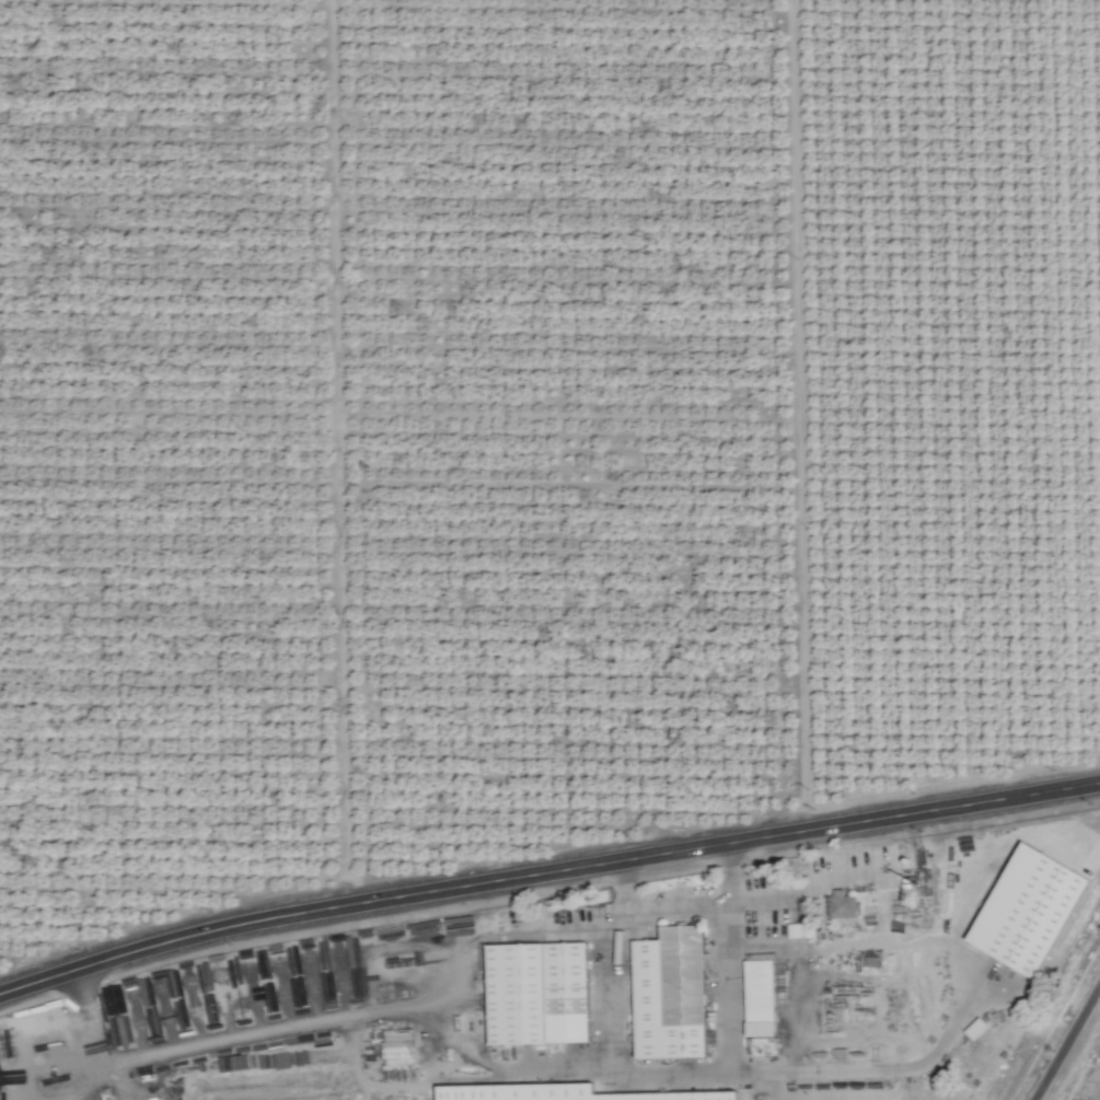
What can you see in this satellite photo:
road: (797, 417)
road: (334, 454)
road: (546, 873)
building: (842, 904)
road: (680, 906)
building: (1027, 910)
building: (795, 930)
road: (764, 946)
building: (537, 993)
building: (669, 994)
building: (759, 997)
road: (960, 1010)
railway: (1057, 1024)
road: (88, 1028)
road: (731, 1041)
road: (1067, 1043)
building: (397, 1046)
building: (563, 1093)

